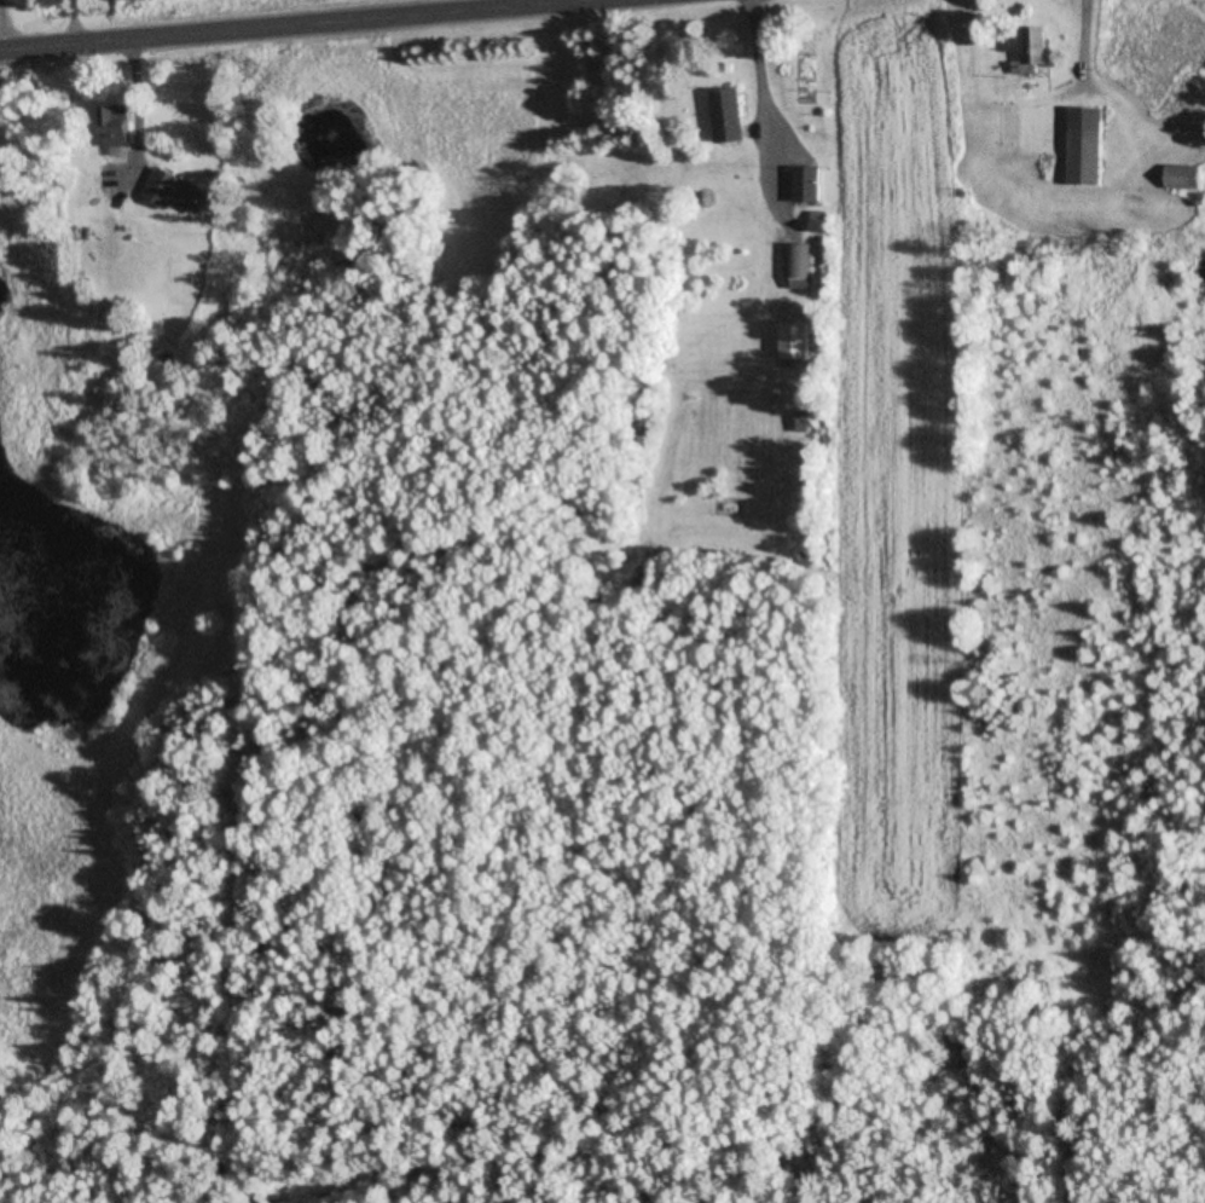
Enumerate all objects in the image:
road: (324, 27)
building: (1031, 53)
building: (720, 116)
building: (121, 125)
building: (1081, 146)
building: (1177, 178)
building: (800, 185)
building: (179, 192)
building: (812, 222)
building: (795, 264)
building: (789, 342)
building: (799, 423)

